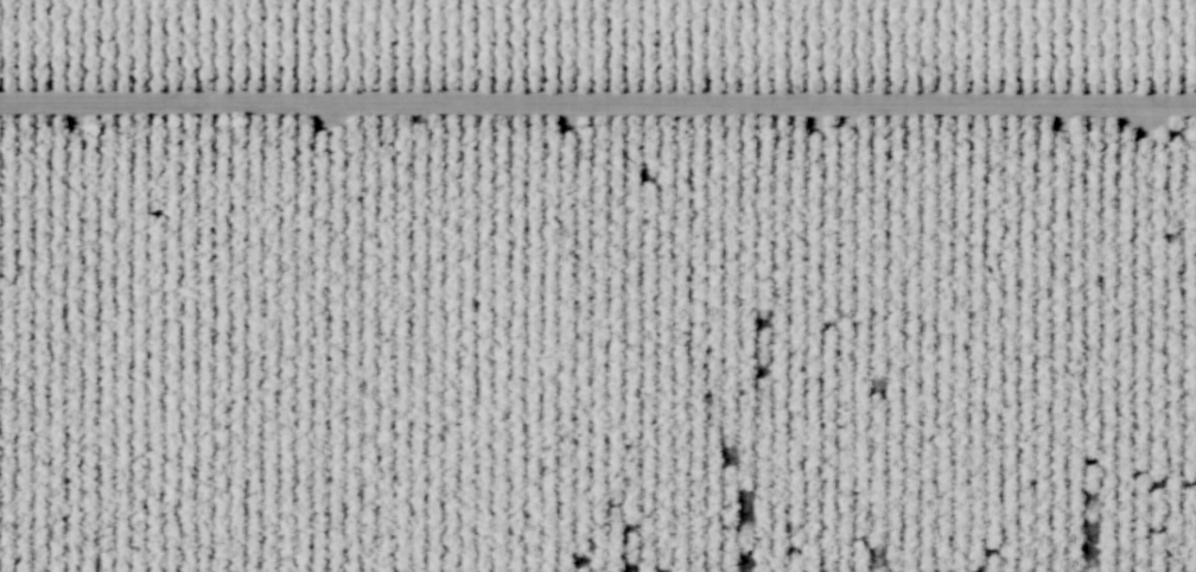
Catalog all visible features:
crop: (611, 63)
road: (598, 102)

